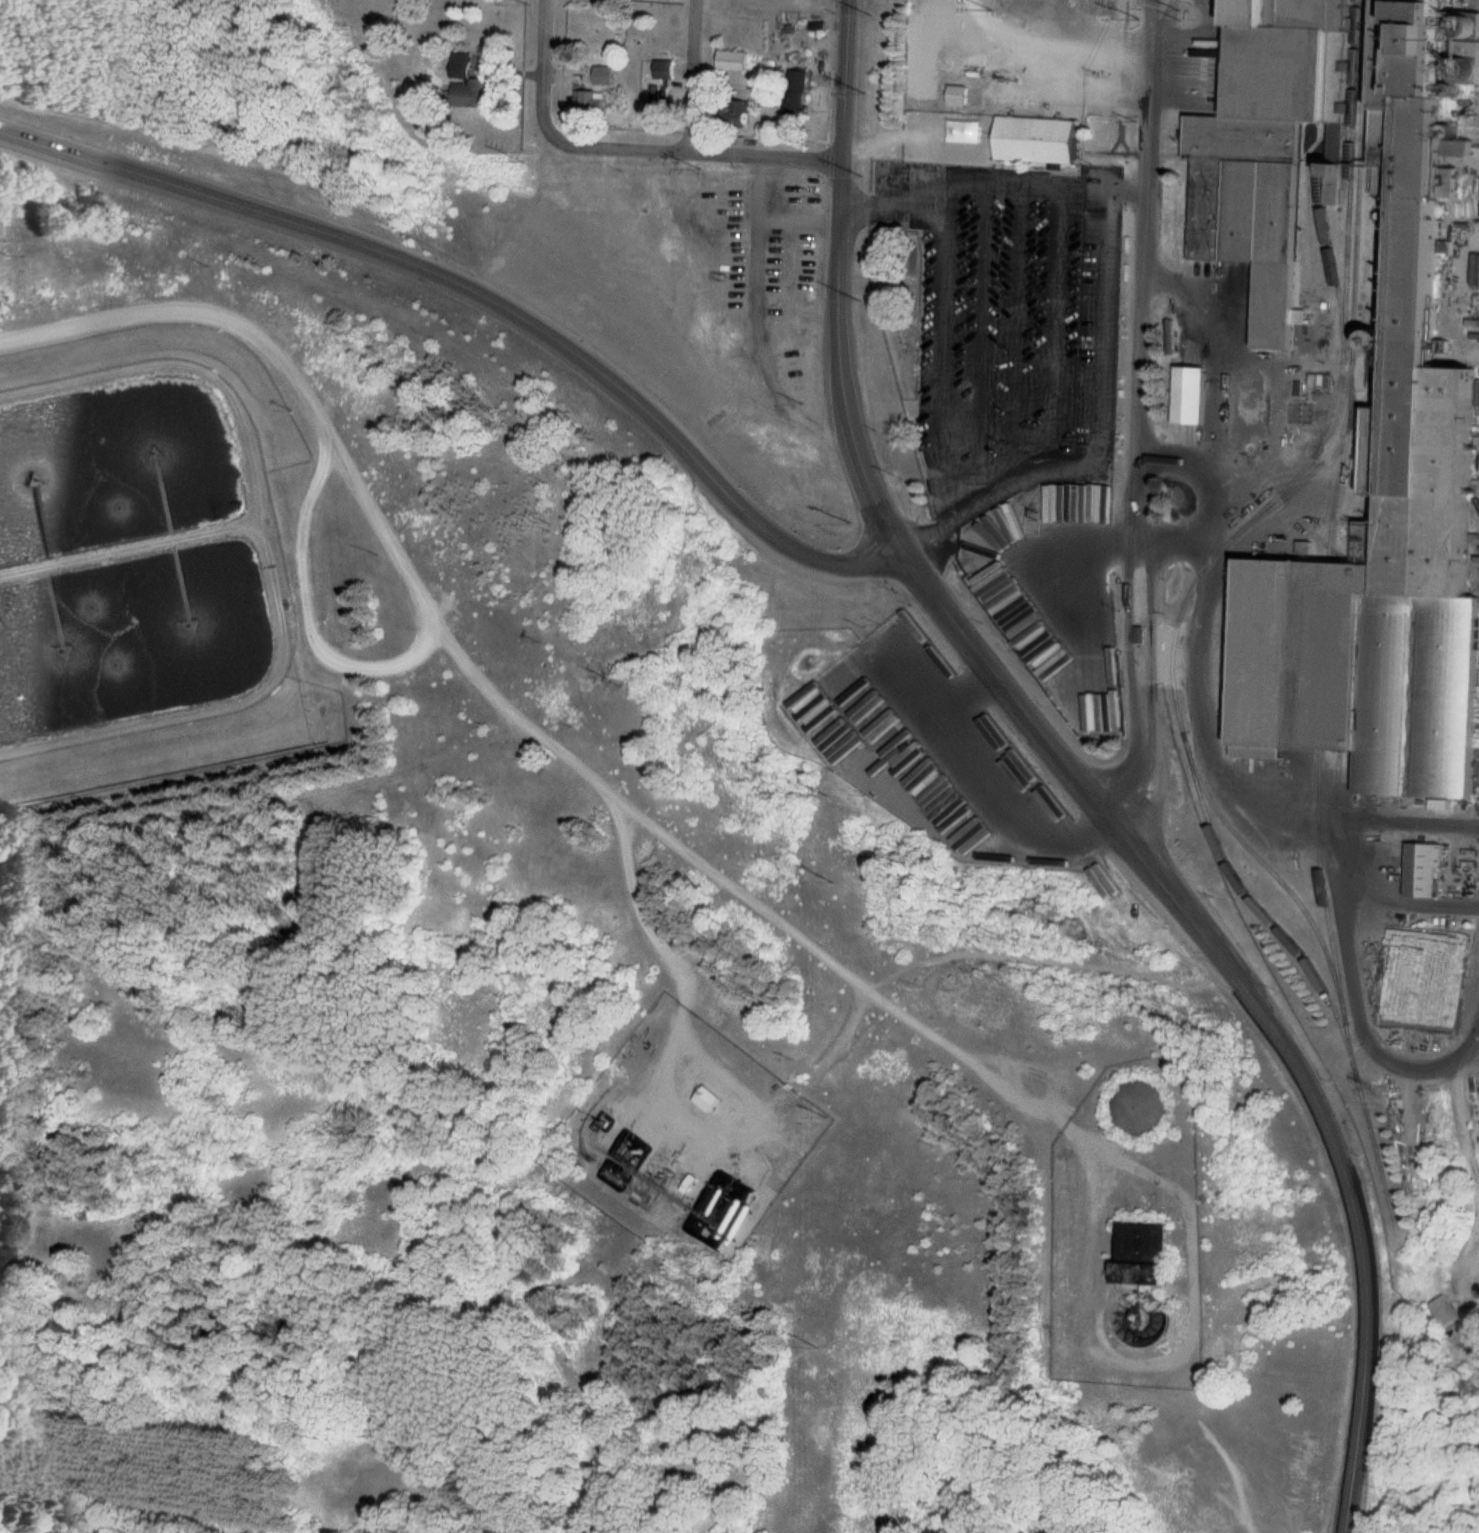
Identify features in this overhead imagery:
building: (729, 61)
building: (456, 66)
building: (659, 70)
road: (534, 73)
building: (599, 77)
road: (687, 77)
road: (843, 82)
building: (791, 96)
building: (654, 97)
building: (954, 97)
building: (588, 101)
building: (732, 112)
building: (1033, 142)
road: (694, 154)
building: (1246, 210)
road: (303, 230)
road: (834, 361)
building: (1185, 397)
road: (1133, 442)
road: (698, 466)
railway: (1229, 543)
wastewater plant: (145, 561)
road: (850, 565)
road: (118, 576)
road: (248, 589)
building: (1372, 602)
railway: (1327, 616)
road: (1034, 734)
railway: (1267, 869)
building: (1419, 871)
building: (706, 1101)
building: (676, 1182)
road: (1348, 1202)
building: (1145, 1277)
building: (1440, 1315)

